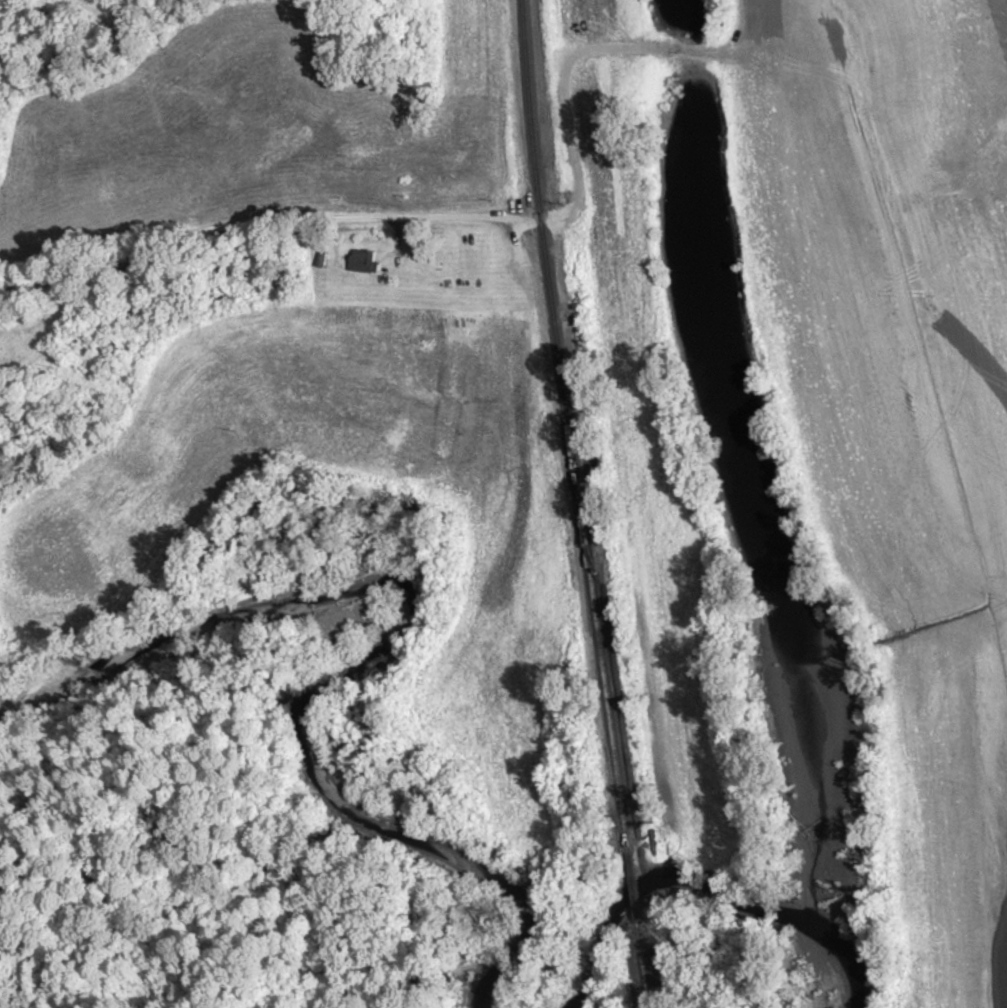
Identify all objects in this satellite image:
road: (563, 72)
road: (263, 222)
building: (363, 260)
crop: (899, 402)
crop: (644, 422)
railway: (580, 504)

